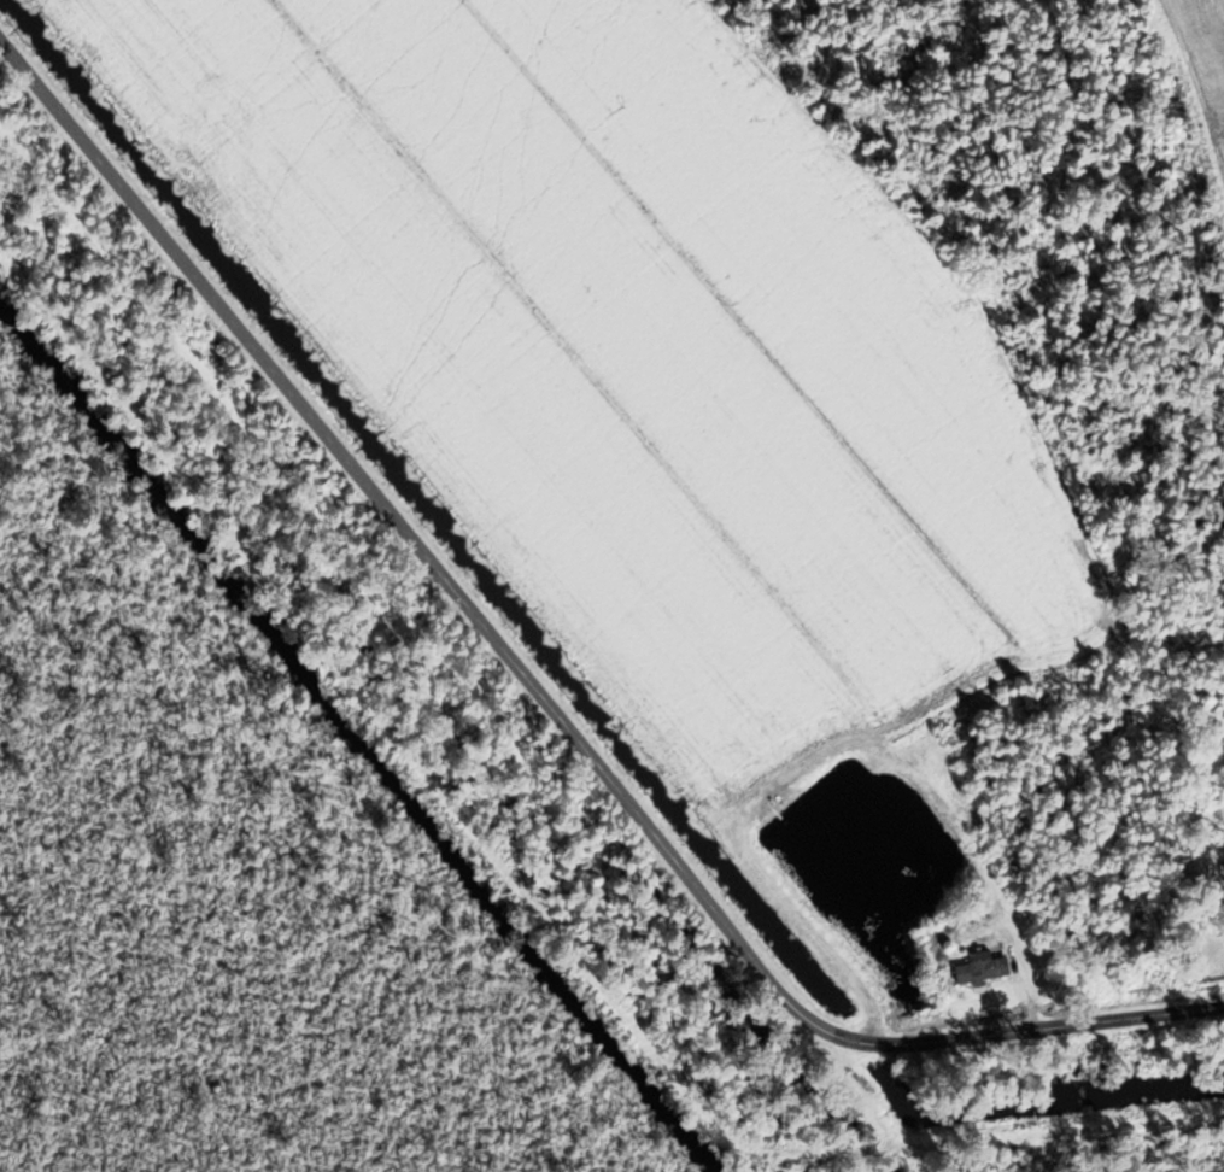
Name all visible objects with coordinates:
crop: (1197, 88)
crop: (644, 350)
road: (538, 698)
building: (977, 967)

